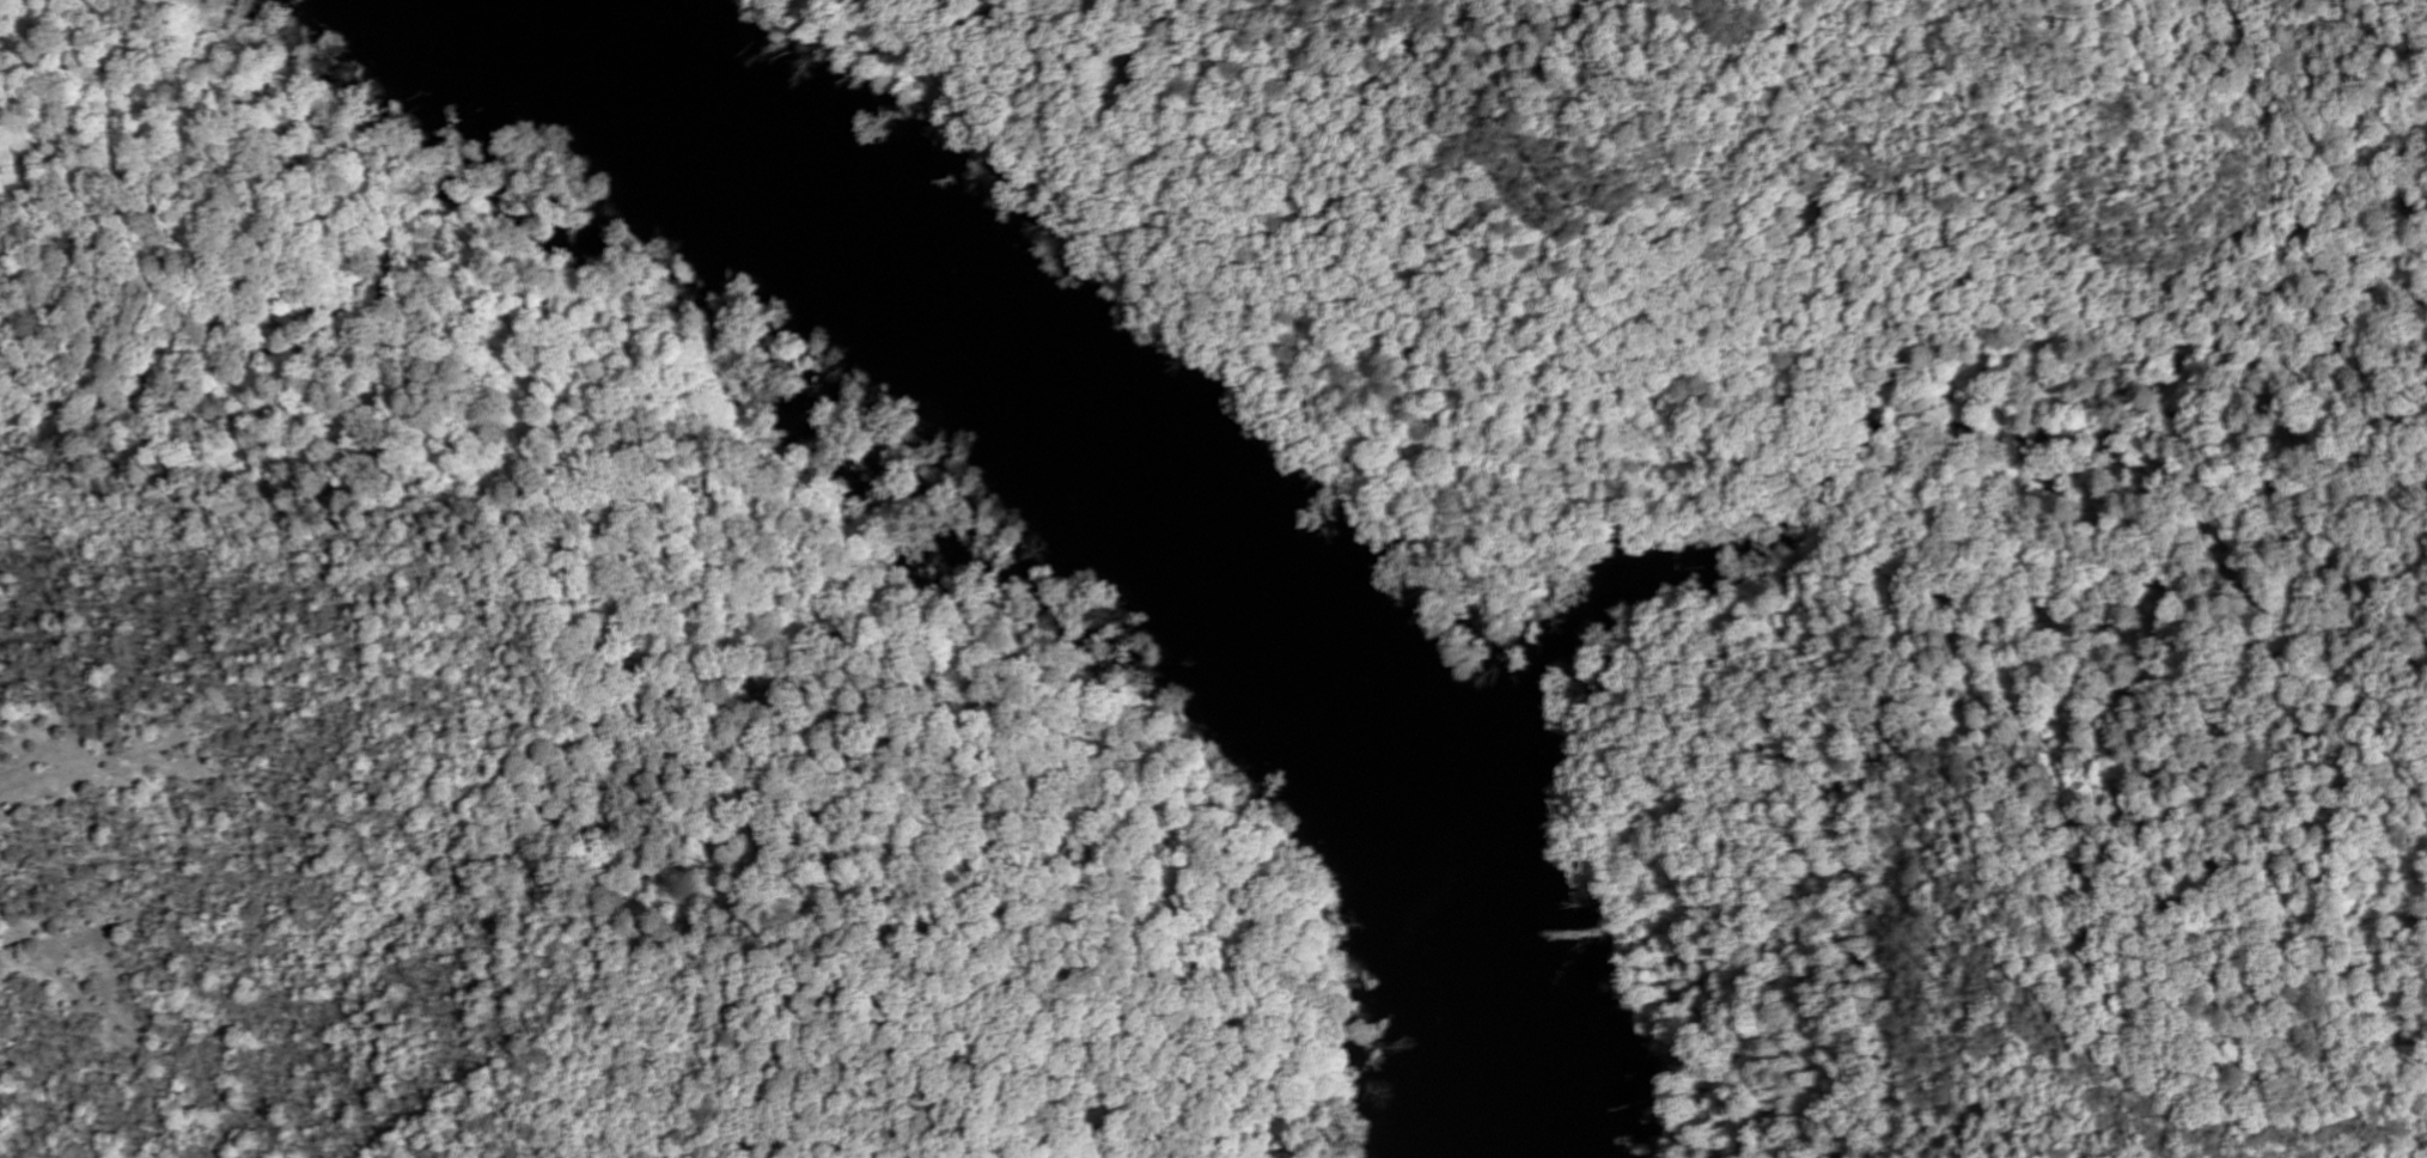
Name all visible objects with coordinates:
river: (1145, 486)

